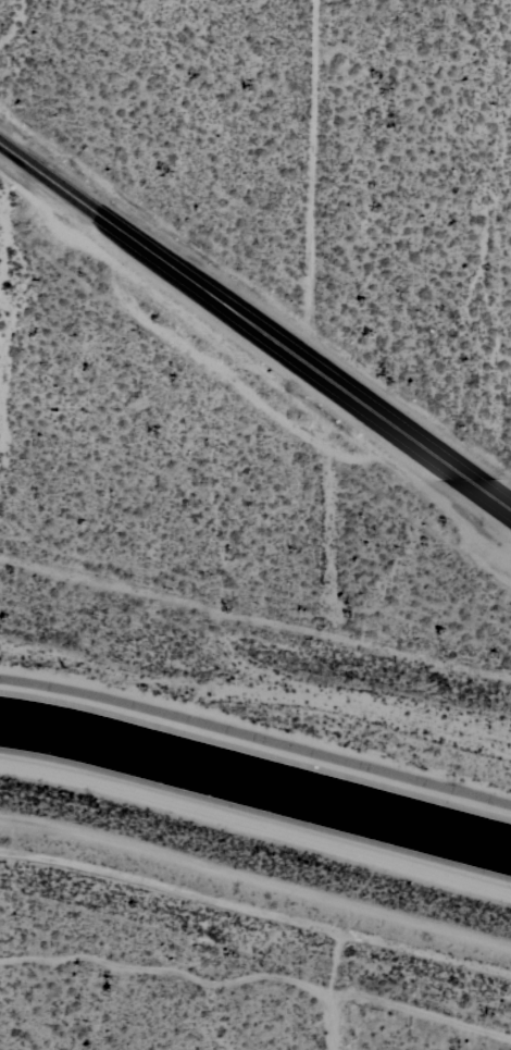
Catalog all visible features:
road: (255, 319)
road: (431, 923)
road: (255, 967)
road: (335, 975)

